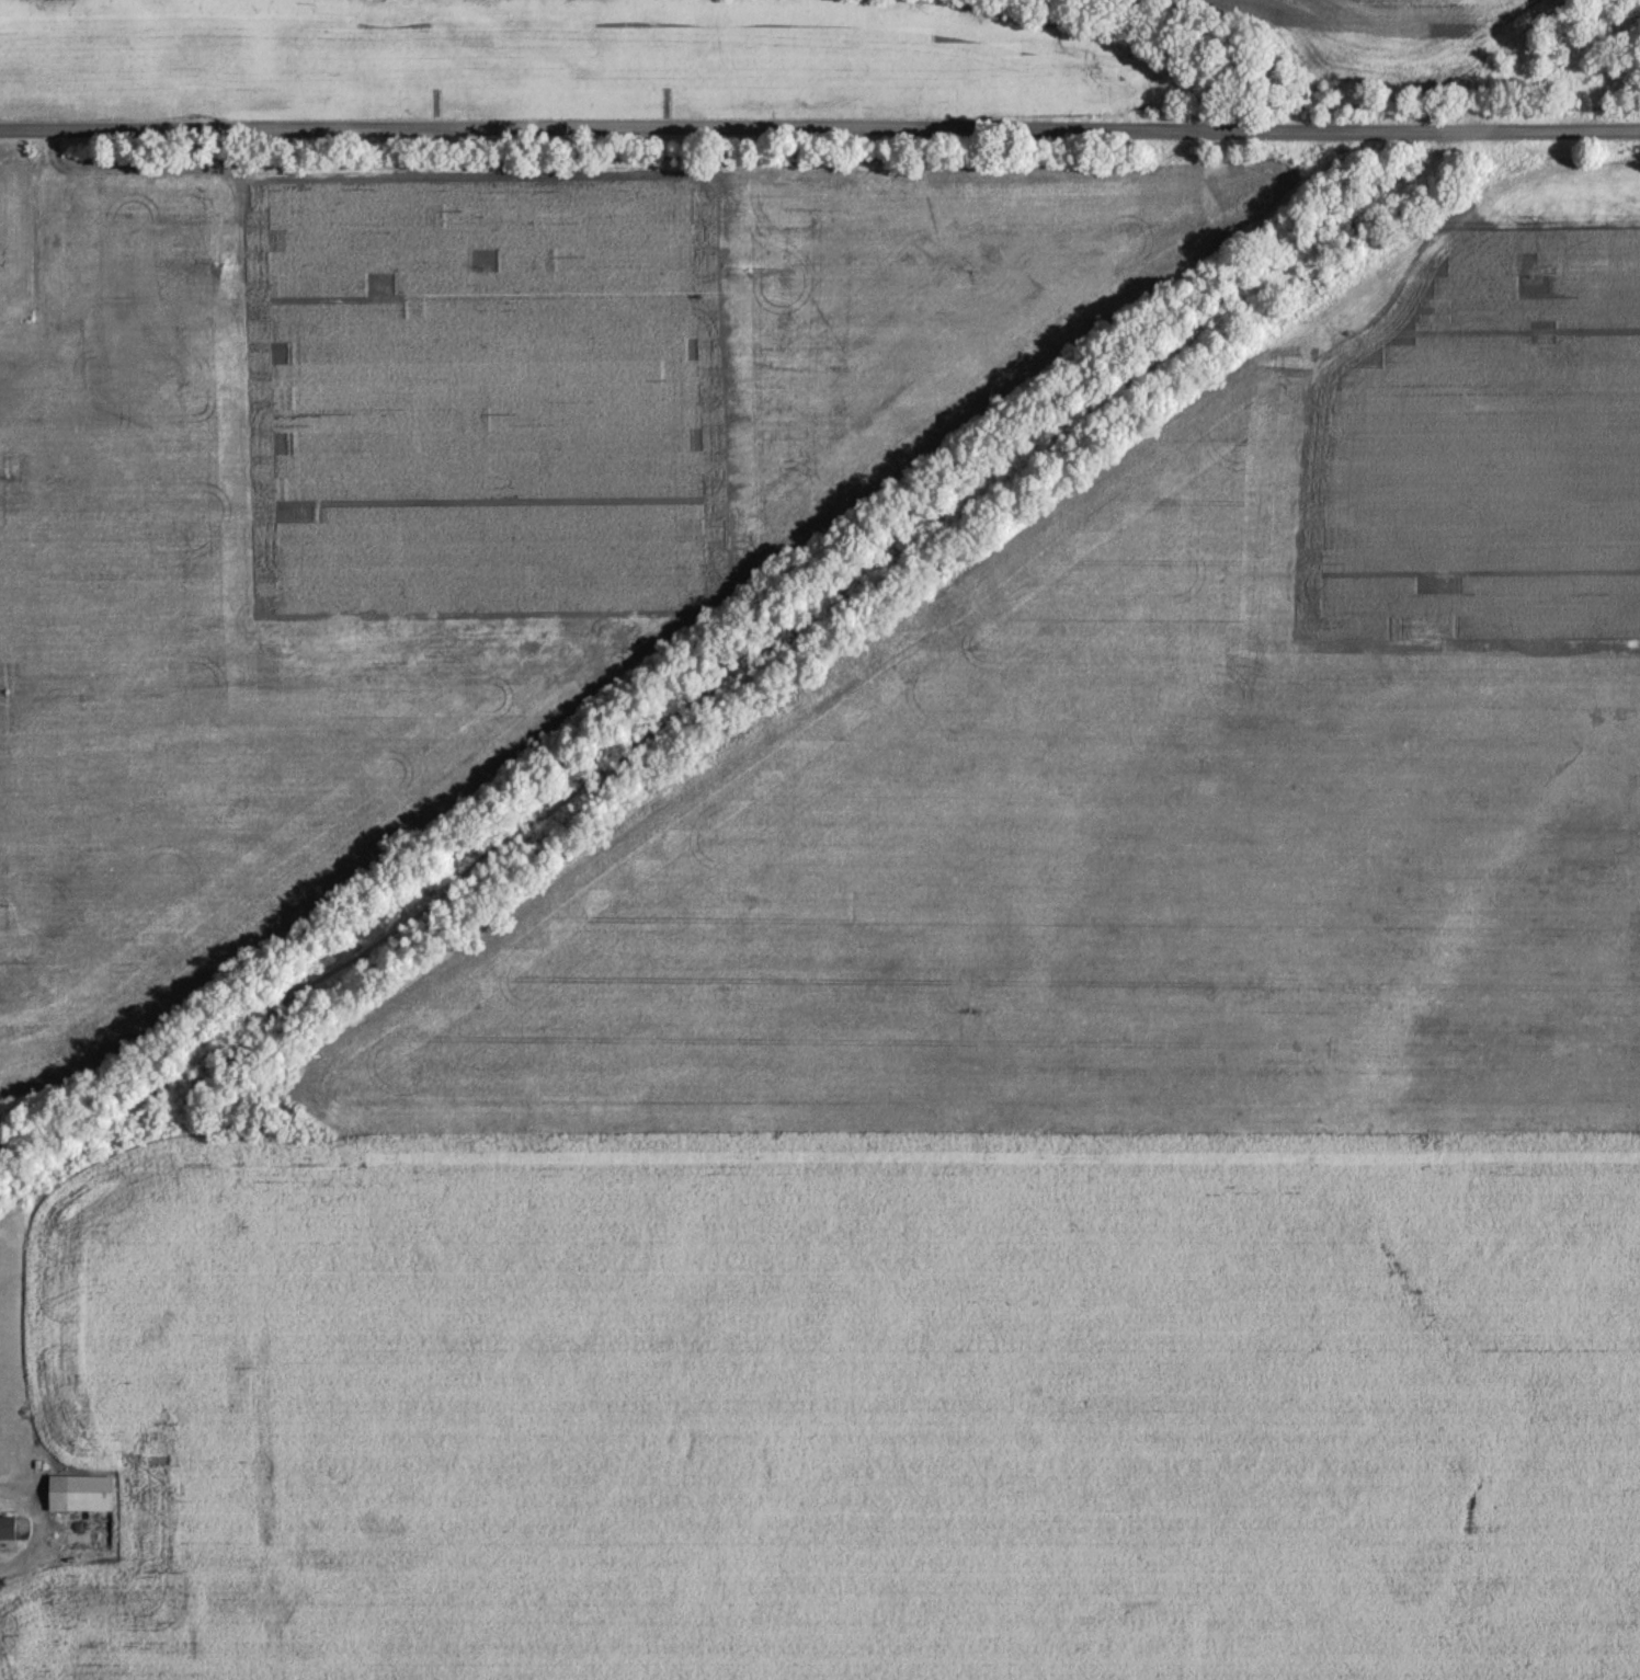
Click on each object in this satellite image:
road: (820, 134)
building: (80, 1496)
building: (7, 1531)

